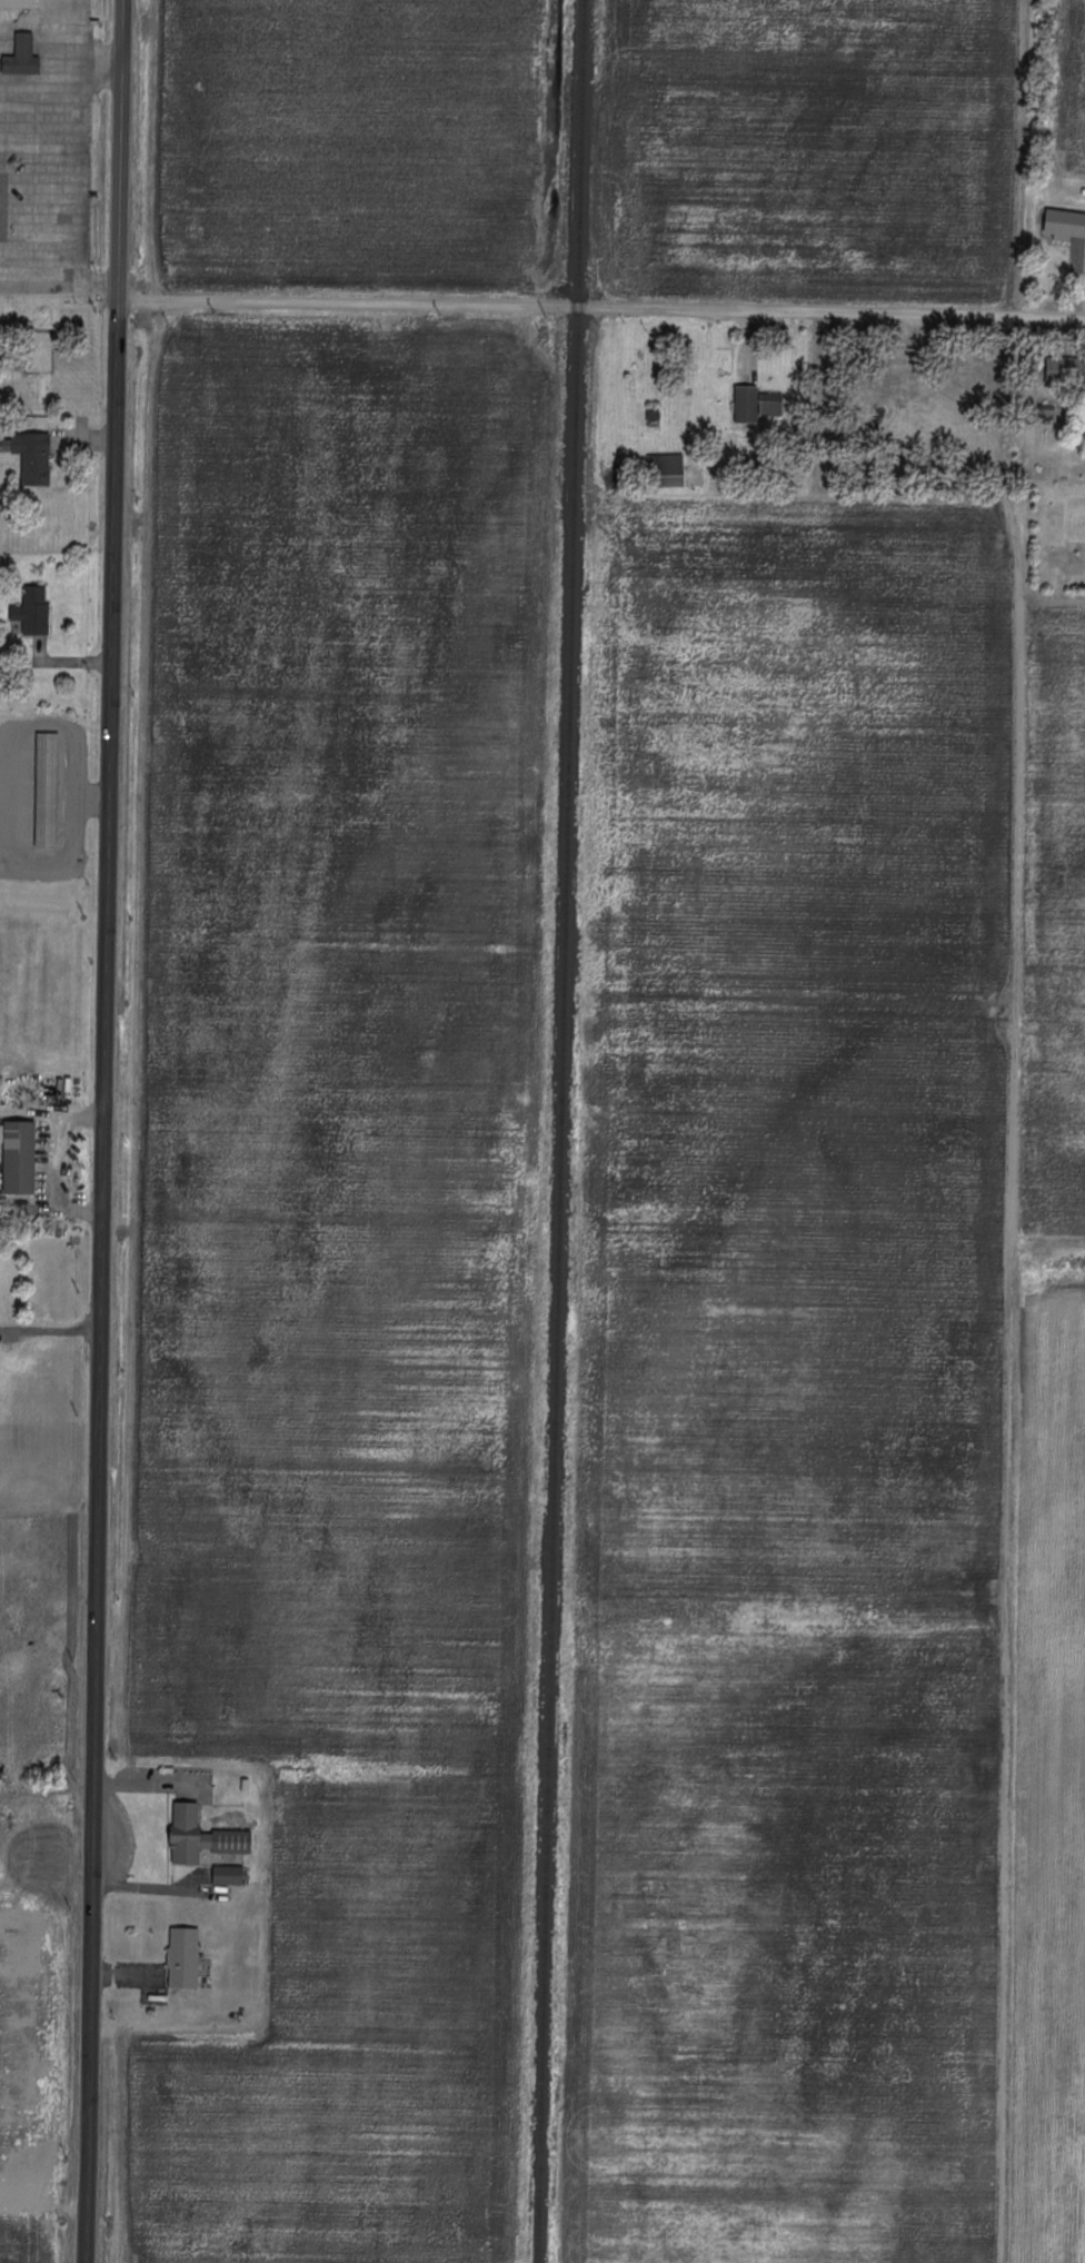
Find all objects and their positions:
building: (20, 2)
road: (58, 30)
building: (24, 54)
road: (90, 61)
road: (121, 149)
building: (1065, 225)
road: (79, 264)
road: (59, 286)
road: (601, 305)
building: (27, 317)
building: (47, 317)
building: (2, 318)
building: (84, 319)
building: (48, 371)
building: (18, 377)
road: (2, 391)
road: (87, 437)
building: (36, 455)
building: (670, 468)
building: (36, 609)
road: (63, 659)
road: (72, 764)
building: (49, 787)
road: (91, 798)
road: (72, 826)
road: (29, 1109)
road: (81, 1114)
railway: (561, 1131)
building: (23, 1157)
road: (57, 1180)
road: (102, 1281)
road: (152, 1783)
road: (47, 1790)
building: (206, 1835)
building: (231, 1873)
road: (151, 1885)
building: (186, 1955)
road: (129, 1972)
road: (151, 1986)

